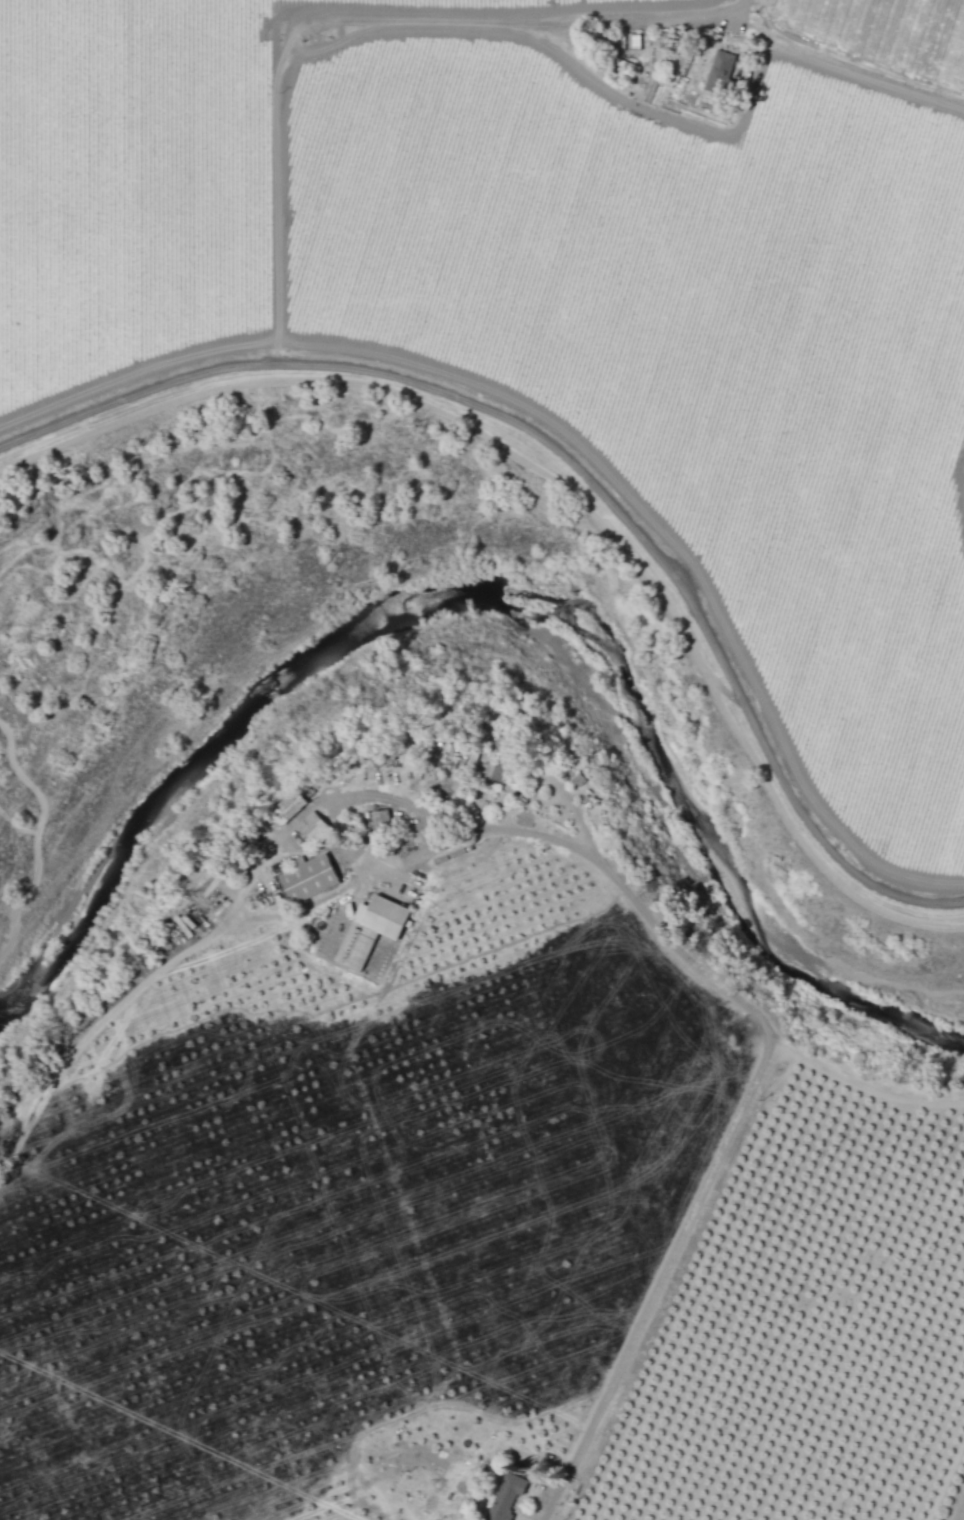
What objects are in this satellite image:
road: (528, 28)
building: (623, 42)
building: (718, 72)
road: (574, 467)
river: (505, 596)
building: (491, 774)
building: (287, 808)
building: (379, 818)
building: (311, 826)
building: (308, 879)
road: (236, 898)
building: (389, 933)
road: (853, 1083)
road: (742, 1107)
building: (505, 1497)

